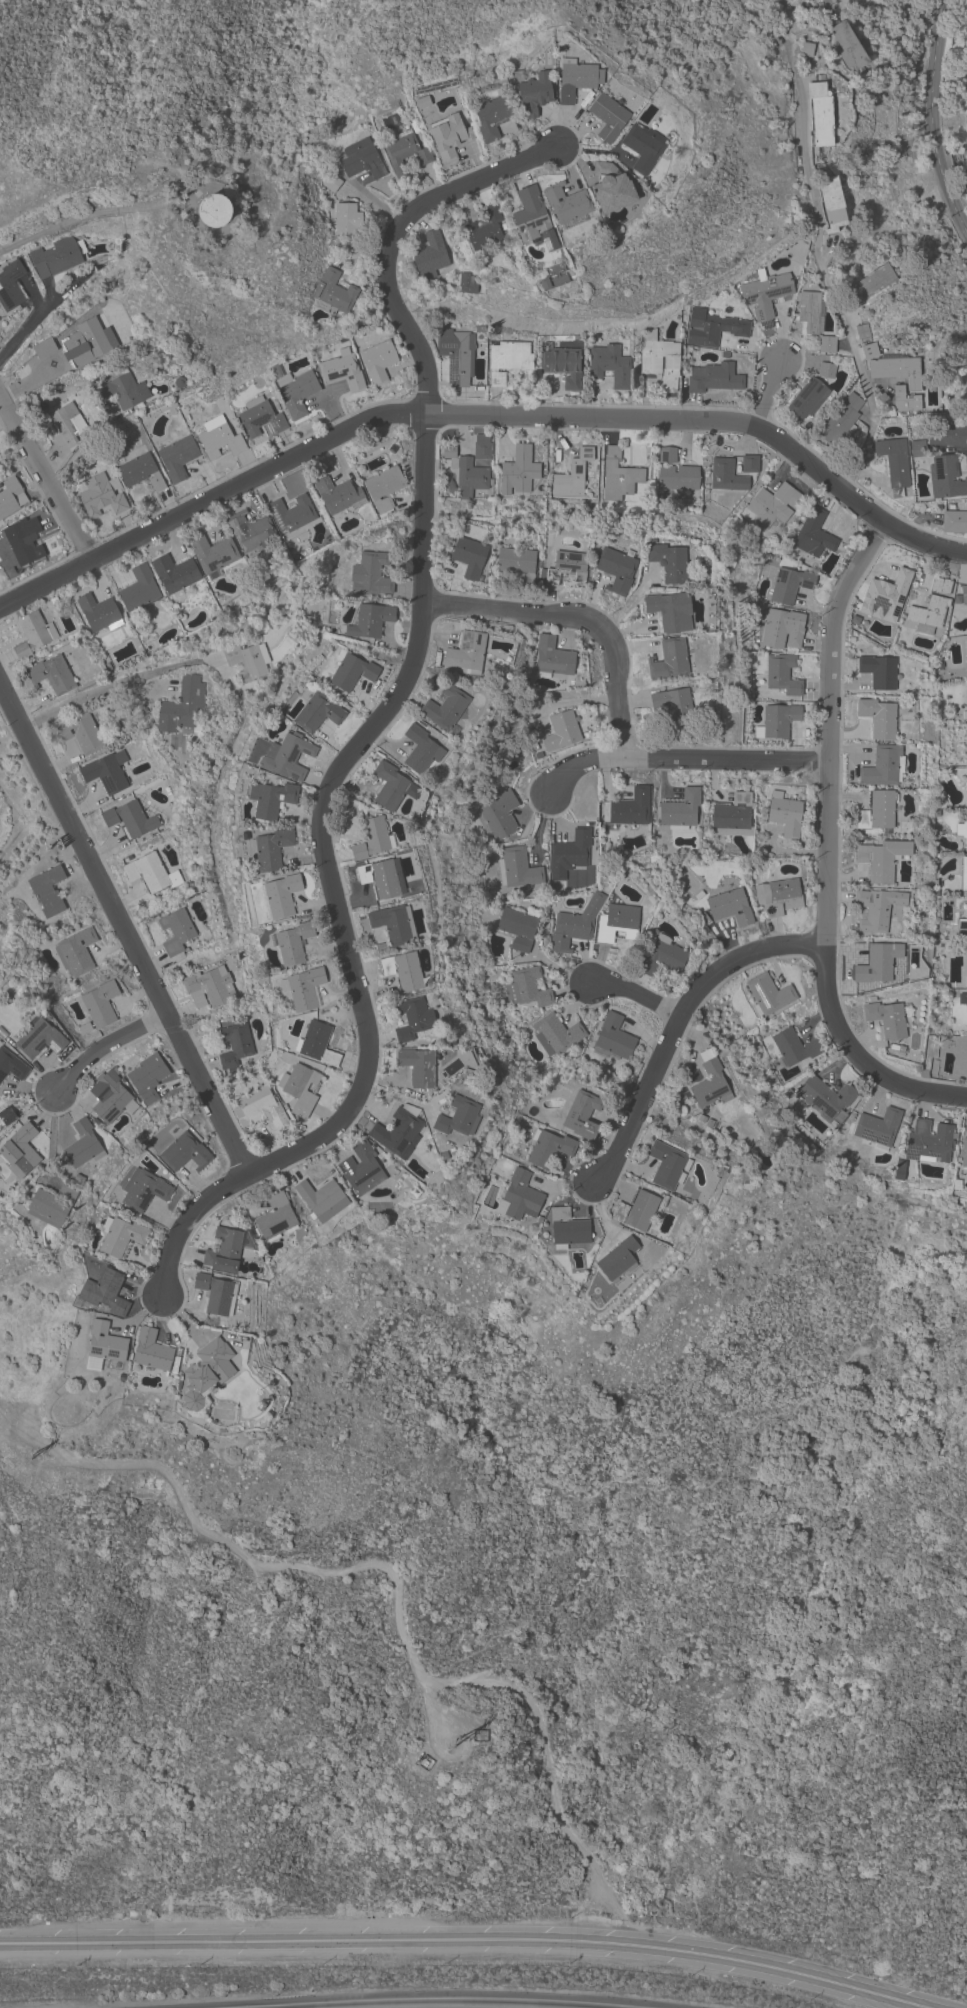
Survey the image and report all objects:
building: (847, 46)
building: (805, 49)
building: (576, 79)
building: (533, 94)
building: (820, 113)
building: (492, 116)
building: (608, 117)
road: (936, 120)
building: (448, 137)
building: (642, 147)
building: (403, 148)
building: (360, 159)
building: (965, 182)
building: (331, 183)
building: (633, 183)
building: (607, 190)
building: (831, 203)
building: (567, 206)
building: (213, 210)
storage tank: (214, 210)
building: (532, 218)
building: (346, 219)
building: (503, 226)
building: (484, 231)
building: (57, 256)
building: (429, 256)
road: (822, 273)
building: (467, 283)
building: (544, 283)
building: (869, 284)
building: (11, 285)
building: (333, 293)
building: (765, 294)
building: (810, 311)
building: (127, 322)
road: (35, 323)
building: (712, 328)
building: (480, 329)
building: (862, 333)
building: (576, 337)
building: (91, 341)
building: (826, 344)
building: (42, 348)
building: (867, 351)
building: (456, 355)
building: (724, 355)
building: (659, 358)
building: (507, 359)
building: (378, 361)
building: (561, 364)
building: (609, 365)
building: (826, 370)
building: (897, 370)
building: (342, 373)
building: (712, 377)
building: (180, 383)
building: (294, 390)
building: (122, 391)
road: (770, 393)
building: (808, 398)
building: (904, 400)
building: (275, 406)
building: (259, 417)
road: (440, 419)
building: (840, 422)
building: (67, 425)
building: (947, 434)
building: (219, 438)
building: (482, 447)
building: (917, 448)
building: (666, 455)
building: (177, 458)
building: (451, 463)
building: (749, 463)
building: (894, 463)
building: (518, 471)
building: (140, 472)
building: (572, 475)
building: (726, 475)
building: (943, 475)
building: (618, 476)
building: (677, 477)
building: (470, 478)
building: (449, 485)
building: (384, 487)
building: (100, 494)
building: (338, 495)
building: (10, 496)
building: (774, 504)
building: (292, 515)
building: (954, 521)
building: (250, 531)
building: (813, 535)
building: (24, 543)
building: (213, 553)
building: (469, 557)
building: (6, 559)
building: (668, 562)
building: (517, 564)
building: (564, 569)
building: (616, 569)
building: (174, 574)
building: (370, 574)
park: (2, 583)
road: (44, 585)
building: (789, 585)
building: (940, 585)
building: (138, 588)
building: (885, 596)
building: (964, 597)
building: (53, 600)
building: (670, 611)
building: (99, 613)
building: (928, 614)
building: (370, 620)
road: (582, 622)
building: (782, 628)
building: (32, 634)
building: (966, 643)
building: (465, 653)
building: (552, 658)
building: (668, 660)
building: (245, 661)
building: (938, 663)
building: (107, 666)
building: (878, 671)
building: (352, 672)
building: (51, 674)
building: (782, 674)
road: (111, 684)
building: (966, 697)
building: (673, 704)
building: (181, 707)
building: (445, 707)
building: (704, 711)
building: (318, 712)
building: (877, 718)
road: (381, 721)
building: (777, 721)
building: (560, 731)
building: (79, 732)
building: (952, 745)
building: (420, 750)
building: (286, 756)
road: (683, 763)
building: (883, 766)
building: (106, 772)
building: (391, 786)
building: (270, 799)
building: (965, 799)
building: (630, 808)
park: (20, 809)
building: (680, 810)
building: (877, 812)
building: (731, 814)
building: (784, 814)
building: (936, 814)
building: (497, 815)
building: (130, 819)
building: (962, 832)
building: (370, 838)
road: (827, 848)
building: (271, 849)
building: (571, 849)
building: (881, 859)
building: (519, 868)
building: (147, 872)
building: (964, 873)
building: (382, 878)
building: (939, 884)
building: (47, 890)
building: (281, 895)
building: (778, 897)
building: (730, 907)
building: (876, 908)
building: (617, 923)
road: (125, 924)
building: (394, 924)
building: (574, 924)
building: (962, 926)
building: (517, 928)
building: (175, 932)
building: (207, 934)
building: (939, 936)
building: (293, 943)
building: (75, 952)
building: (662, 956)
building: (879, 965)
building: (403, 970)
building: (209, 987)
building: (303, 988)
building: (526, 988)
road: (635, 993)
building: (768, 994)
building: (962, 999)
building: (99, 1004)
building: (413, 1018)
building: (887, 1019)
road: (679, 1025)
building: (84, 1028)
building: (555, 1034)
building: (40, 1039)
building: (612, 1039)
building: (452, 1042)
building: (316, 1043)
building: (234, 1045)
building: (792, 1047)
road: (106, 1048)
building: (900, 1048)
building: (11, 1065)
building: (418, 1066)
building: (924, 1072)
building: (147, 1077)
building: (709, 1082)
building: (299, 1088)
building: (788, 1094)
building: (110, 1097)
building: (826, 1099)
building: (260, 1112)
building: (581, 1113)
building: (6, 1116)
building: (458, 1117)
building: (700, 1118)
building: (877, 1128)
building: (397, 1134)
building: (928, 1142)
building: (82, 1145)
building: (549, 1148)
building: (963, 1150)
building: (19, 1151)
building: (184, 1153)
building: (443, 1156)
building: (667, 1165)
building: (361, 1169)
building: (143, 1189)
building: (1, 1193)
building: (518, 1197)
building: (321, 1199)
building: (51, 1205)
building: (636, 1211)
building: (275, 1218)
building: (539, 1220)
building: (567, 1229)
building: (120, 1236)
building: (30, 1245)
building: (224, 1251)
building: (617, 1258)
building: (105, 1291)
building: (216, 1294)
building: (880, 1344)
building: (103, 1345)
building: (150, 1351)
building: (206, 1372)
building: (121, 1377)
building: (260, 1405)
park: (549, 1437)
power tower: (33, 1459)
road: (398, 1612)
road: (433, 1717)
power tower: (455, 1745)
road: (464, 1939)

